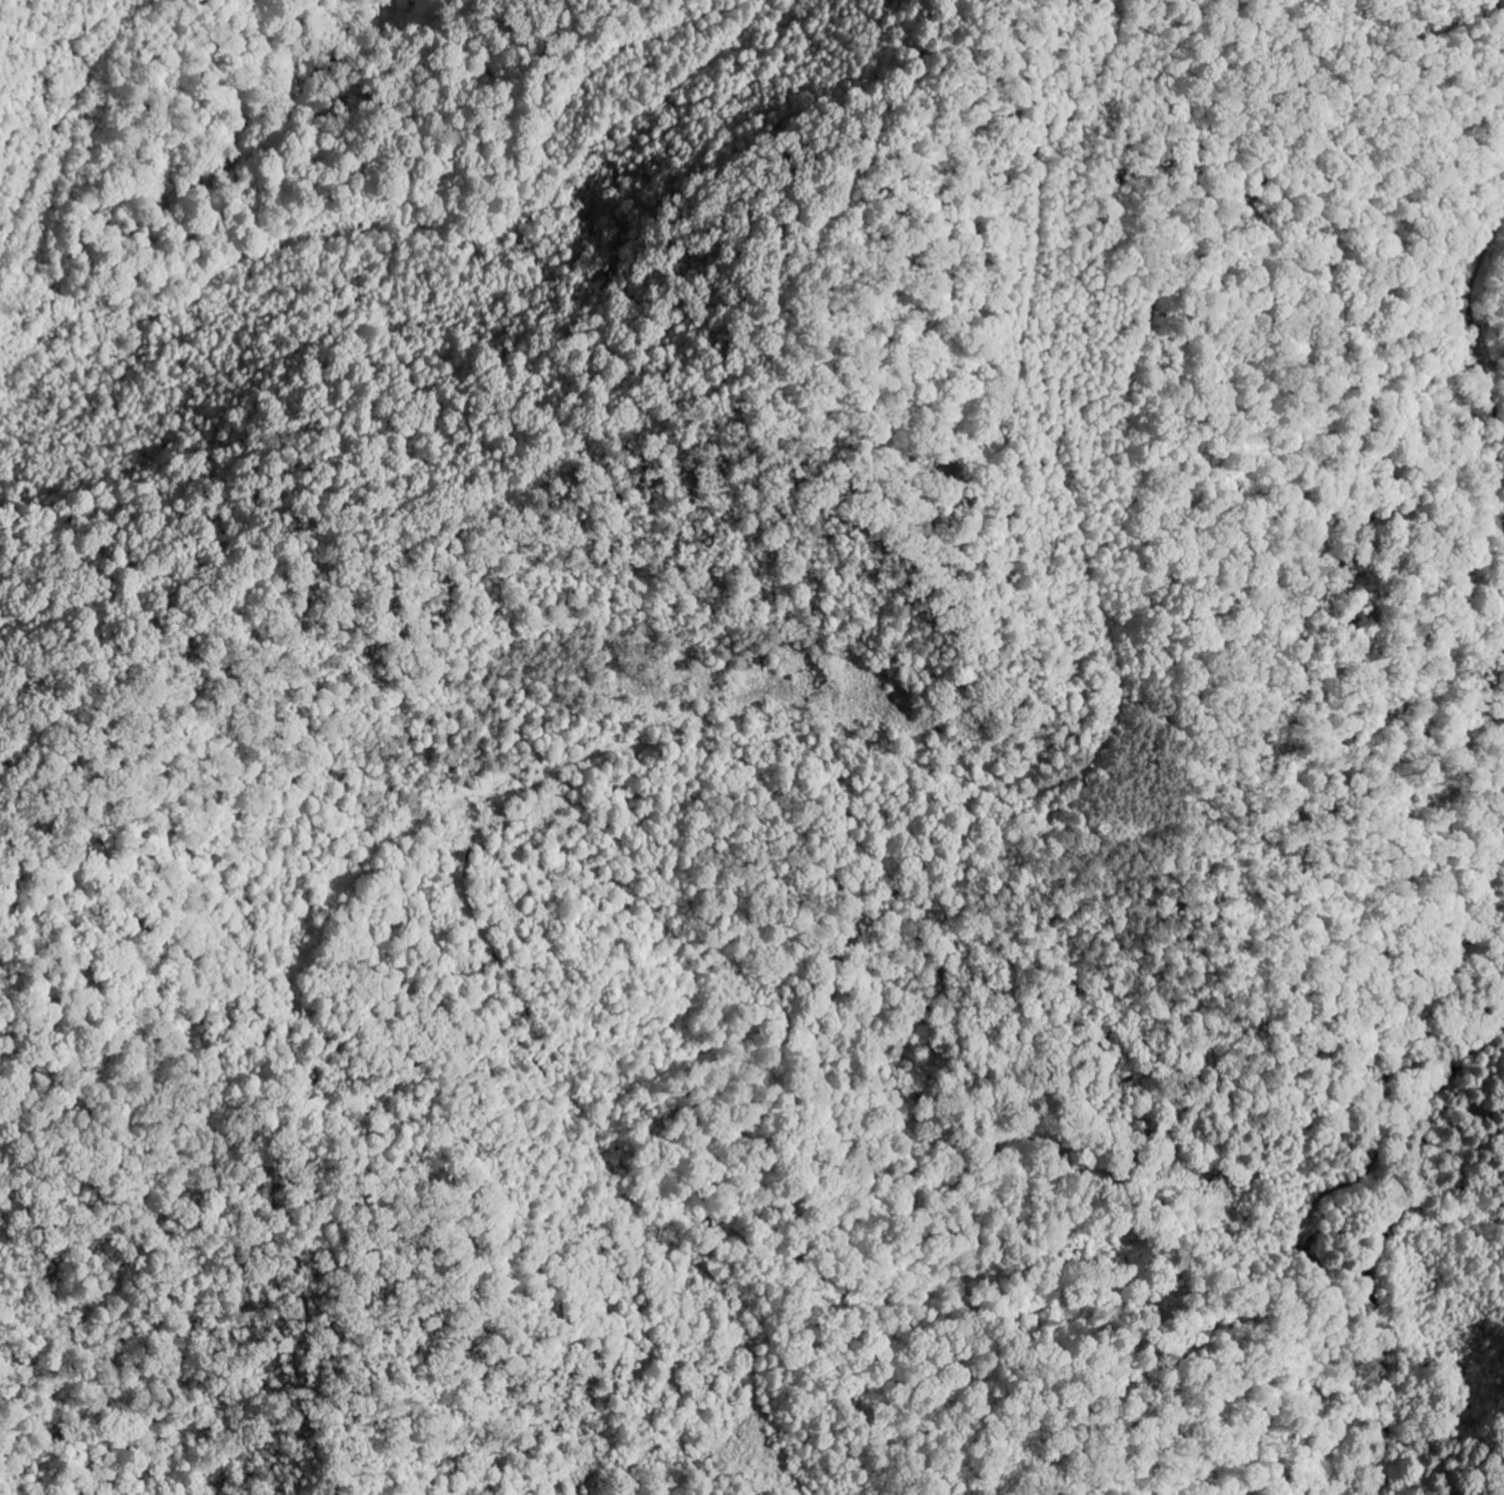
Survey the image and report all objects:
road: (1381, 1261)

